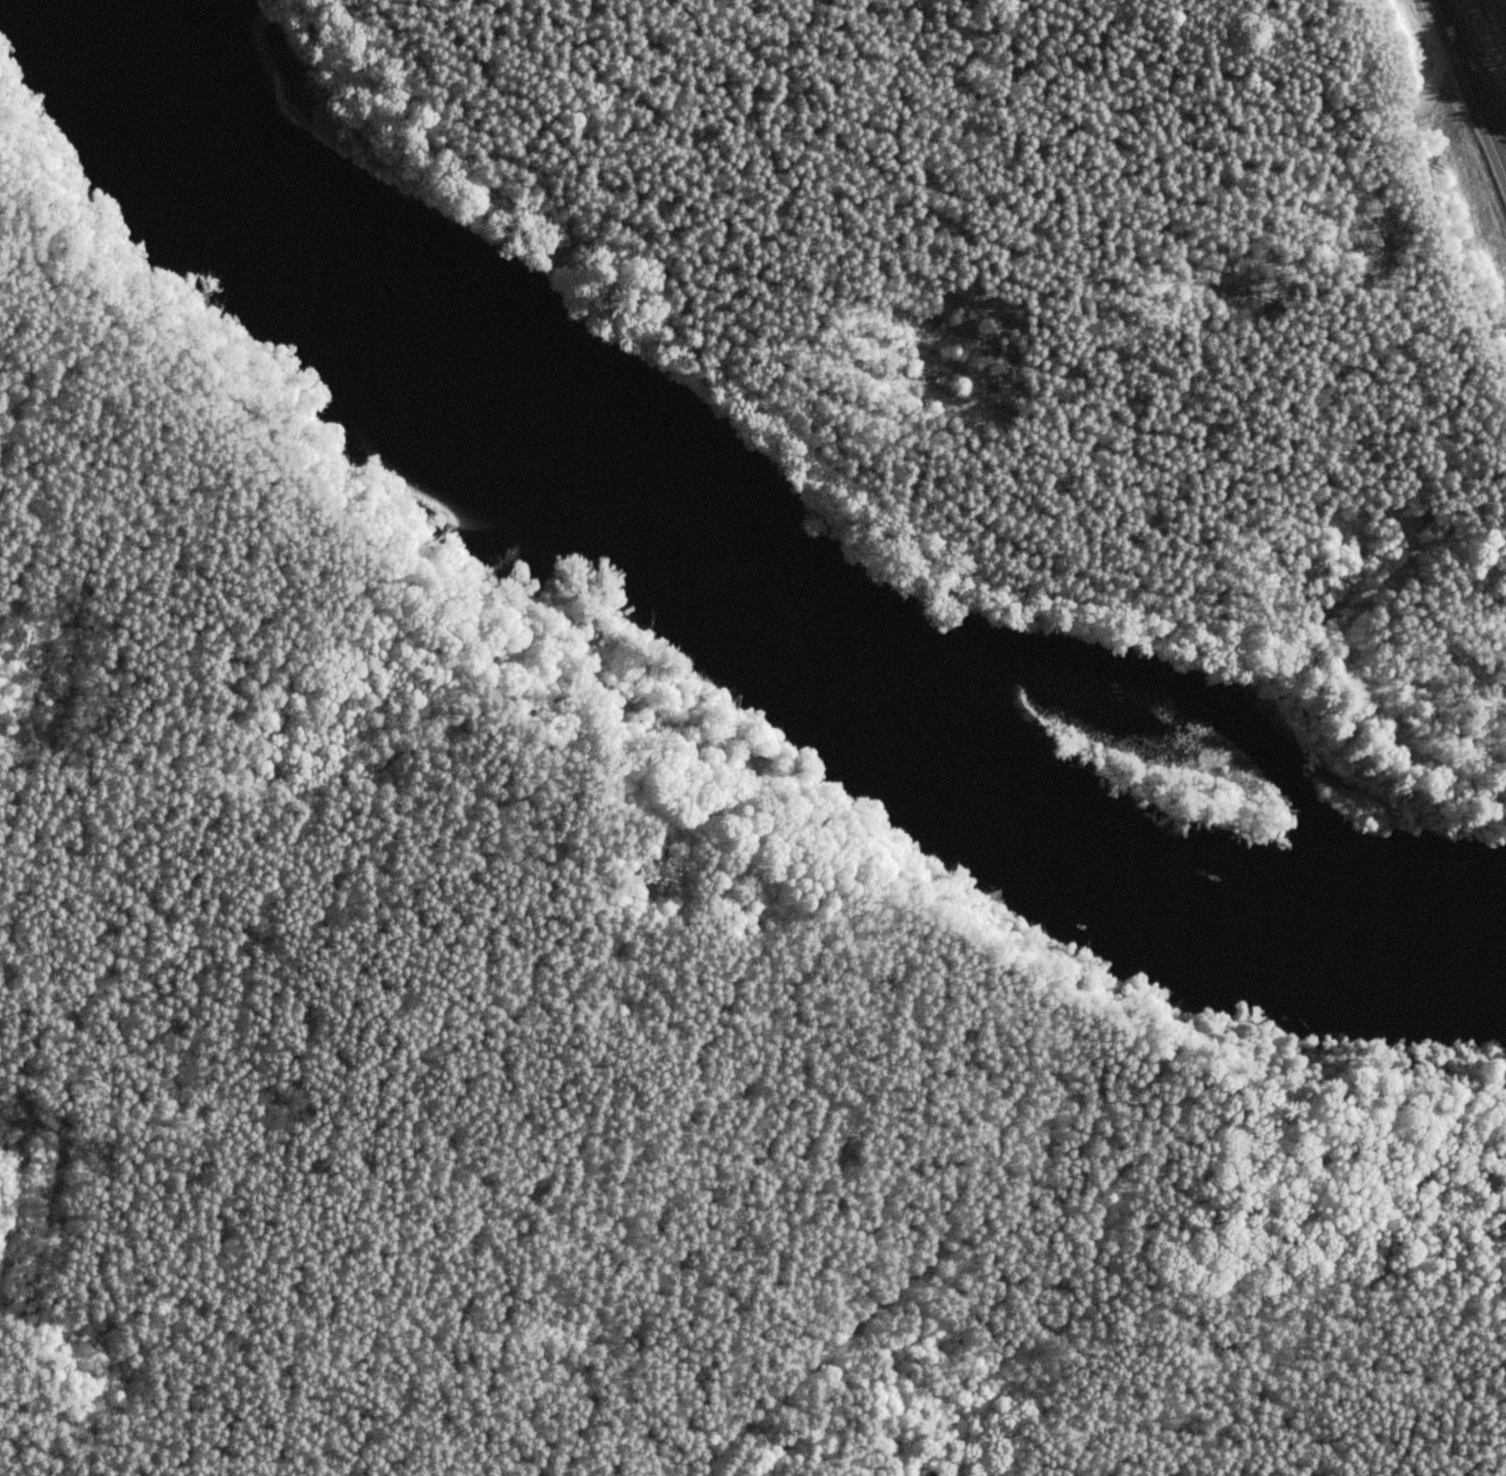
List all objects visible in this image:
road: (1471, 83)
river: (739, 580)
road: (536, 775)

